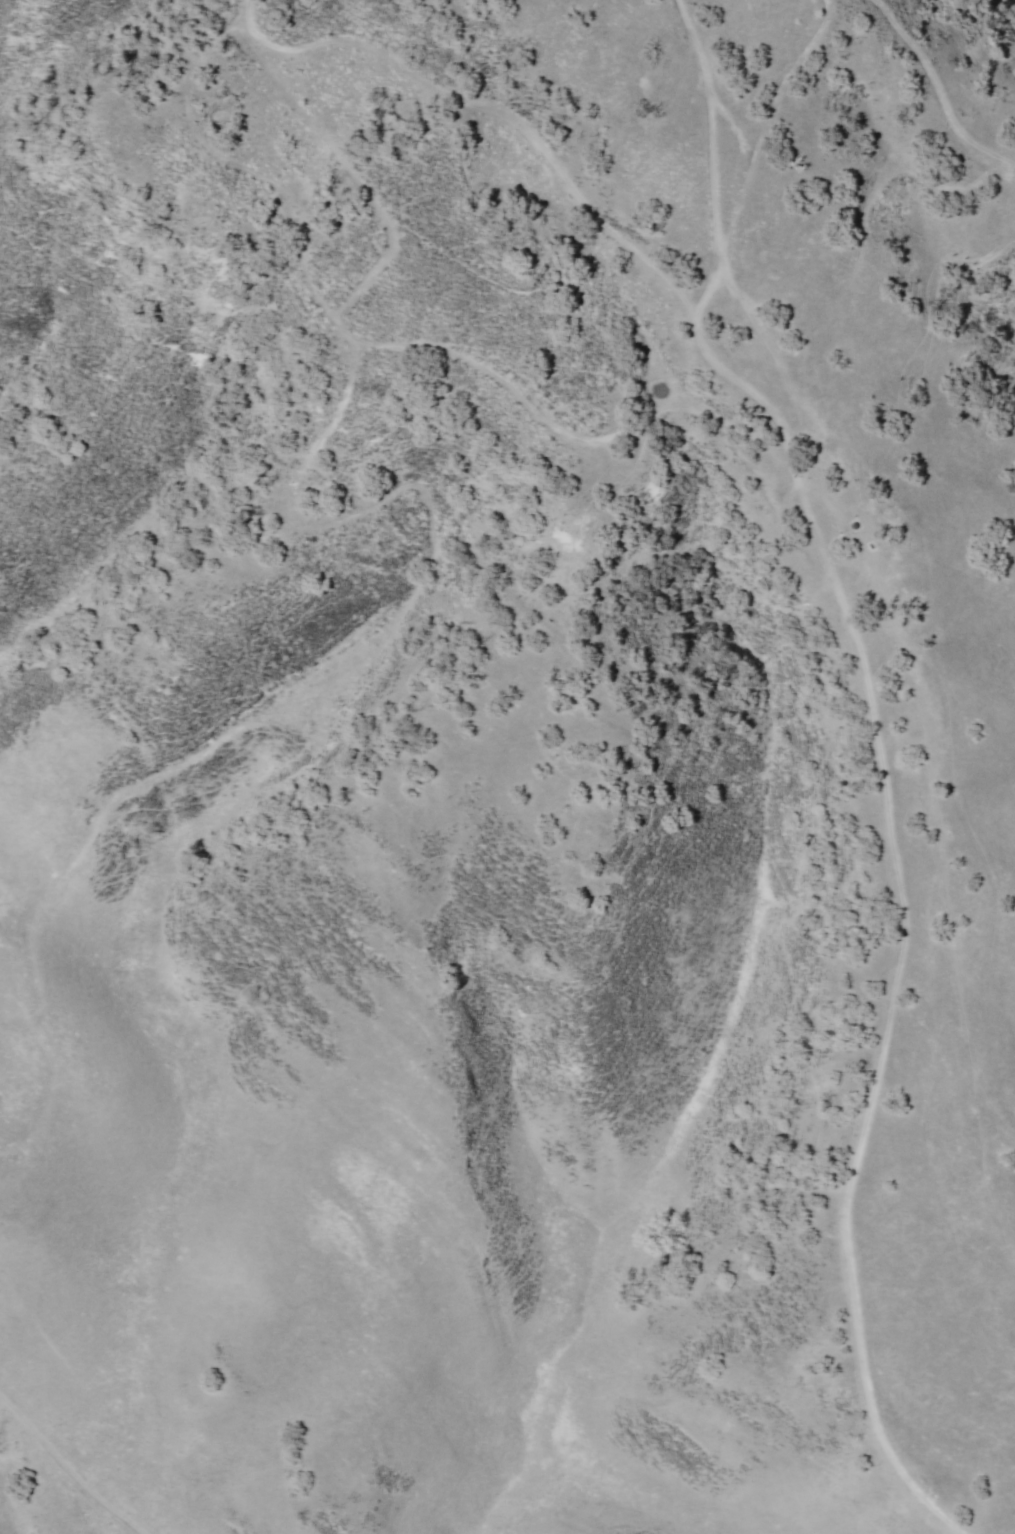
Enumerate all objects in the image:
road: (883, 761)
road: (68, 1465)

